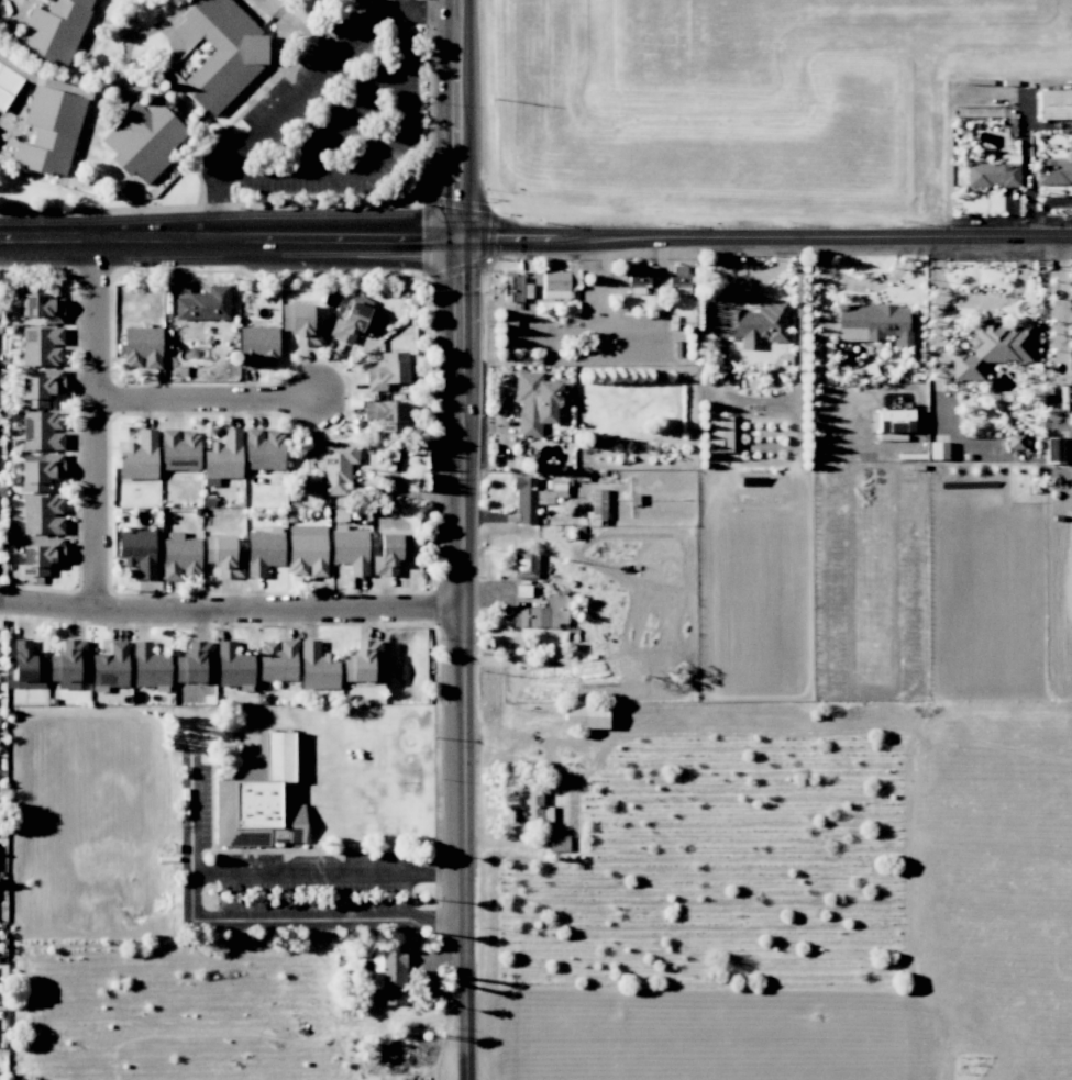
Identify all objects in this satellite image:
building: (55, 29)
building: (217, 53)
building: (7, 85)
road: (305, 88)
building: (1054, 104)
road: (343, 118)
road: (464, 121)
building: (49, 131)
building: (143, 140)
road: (376, 155)
building: (1056, 169)
building: (994, 171)
road: (767, 241)
road: (232, 244)
road: (572, 254)
building: (639, 276)
building: (678, 276)
road: (1059, 277)
building: (559, 285)
building: (515, 288)
building: (203, 304)
building: (42, 308)
building: (353, 323)
building: (874, 323)
building: (300, 324)
building: (756, 325)
road: (636, 327)
building: (42, 346)
building: (258, 346)
building: (141, 347)
building: (992, 348)
building: (1069, 363)
building: (387, 371)
building: (41, 389)
road: (209, 401)
building: (386, 415)
building: (895, 421)
road: (98, 426)
building: (42, 431)
building: (719, 434)
building: (1015, 439)
building: (179, 449)
building: (263, 449)
building: (1054, 449)
building: (938, 450)
building: (140, 457)
building: (223, 458)
building: (338, 466)
building: (41, 472)
building: (596, 506)
building: (42, 515)
building: (350, 549)
building: (264, 550)
building: (307, 550)
building: (137, 552)
building: (391, 553)
building: (180, 555)
building: (223, 556)
road: (230, 611)
building: (542, 614)
building: (277, 660)
building: (361, 660)
building: (192, 661)
road: (461, 661)
building: (67, 664)
building: (27, 665)
building: (233, 665)
building: (111, 666)
building: (150, 666)
building: (317, 667)
building: (585, 716)
building: (262, 795)
building: (531, 806)
building: (559, 844)
road: (273, 875)
road: (309, 914)
building: (388, 977)

